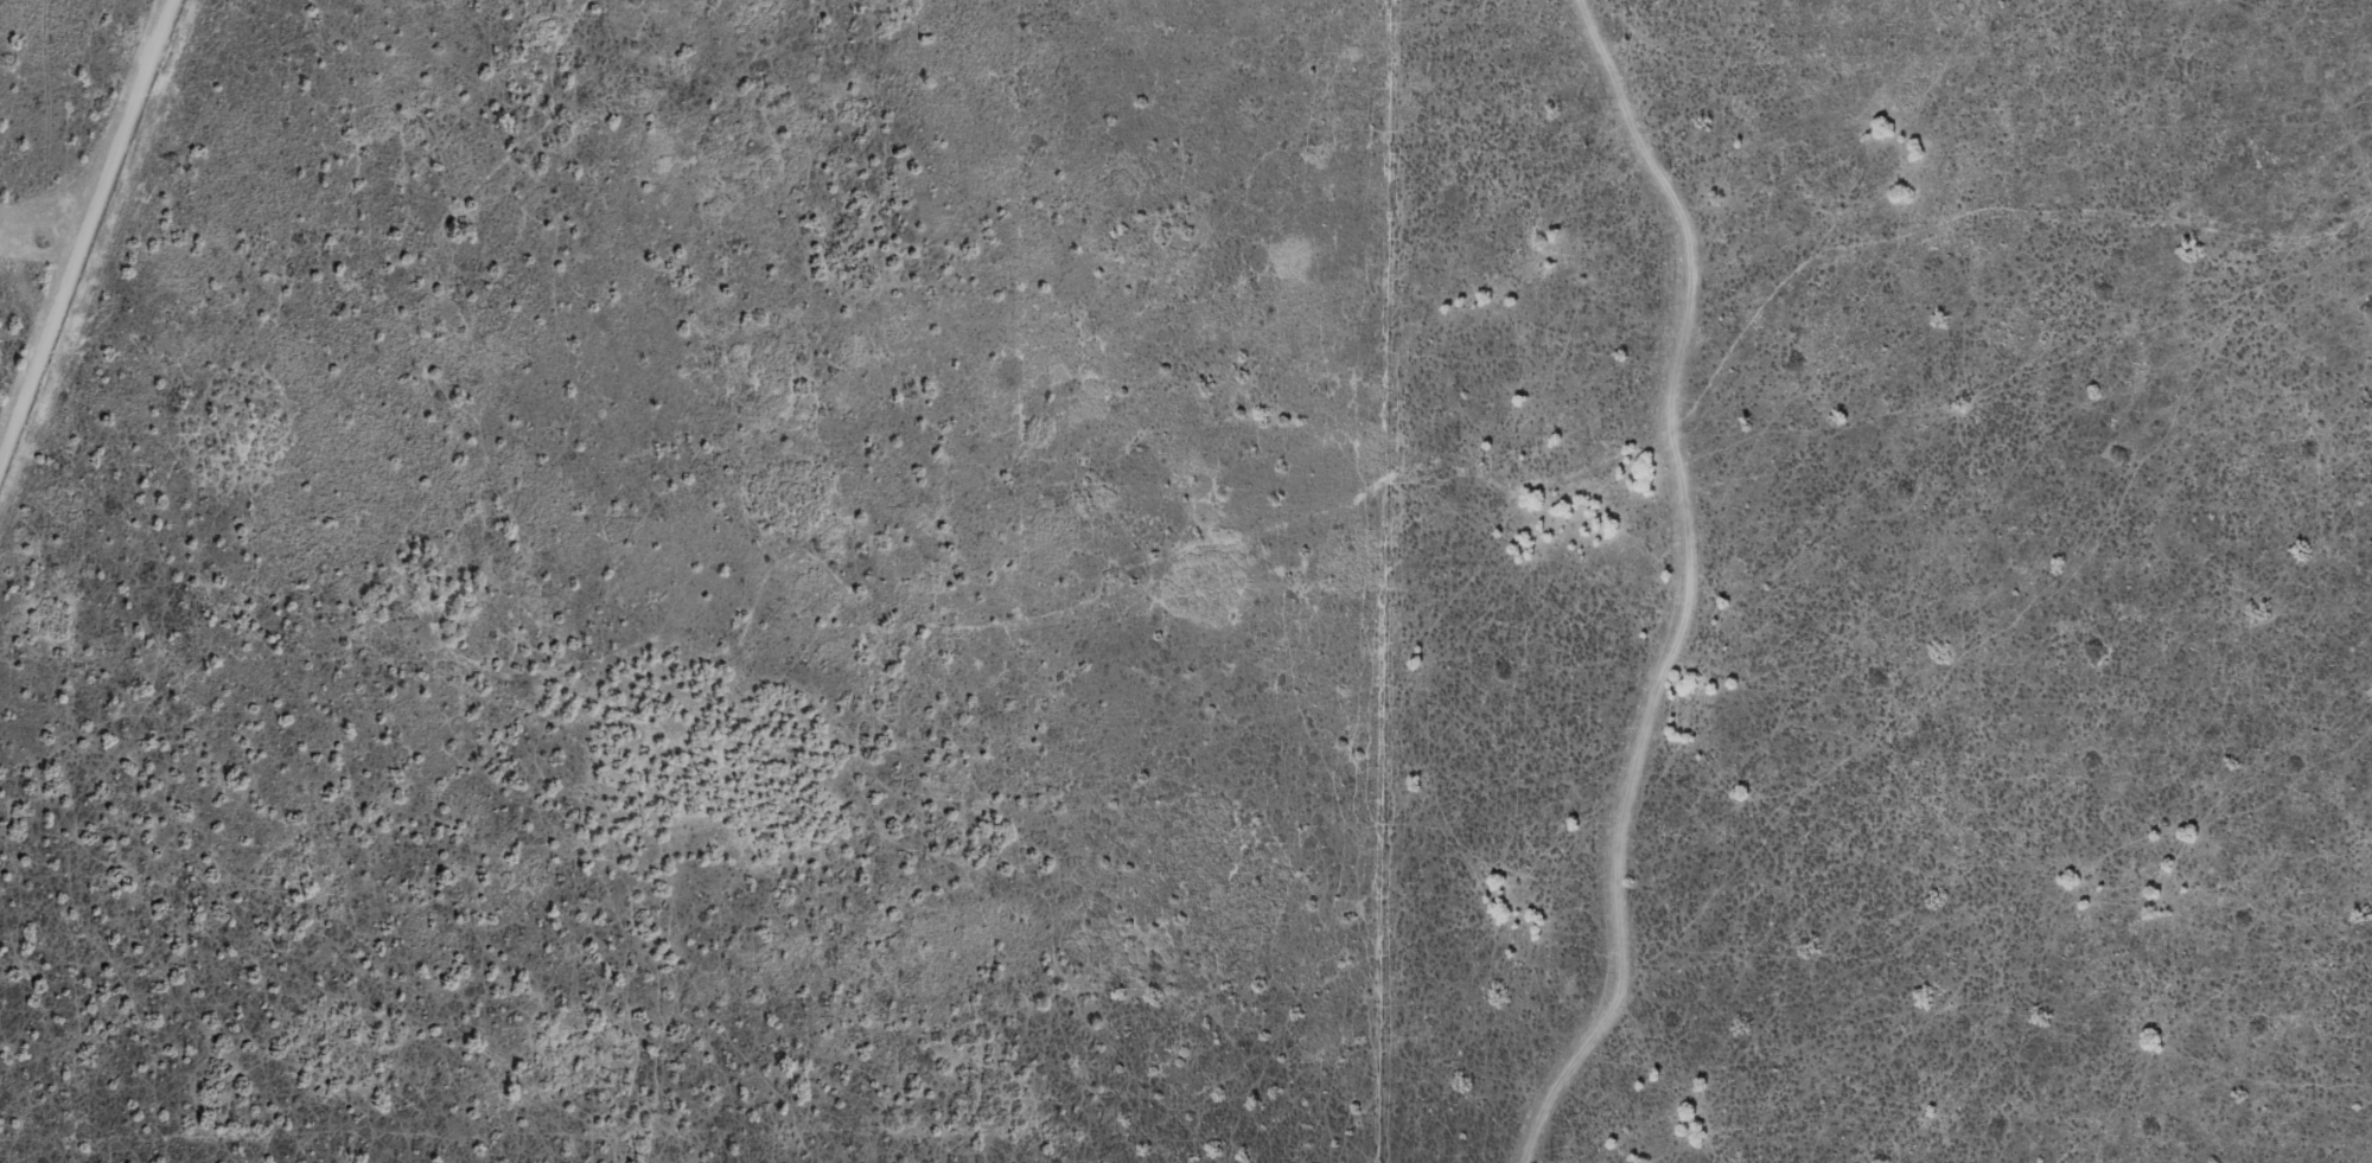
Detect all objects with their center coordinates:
road: (26, 65)
road: (1657, 588)

